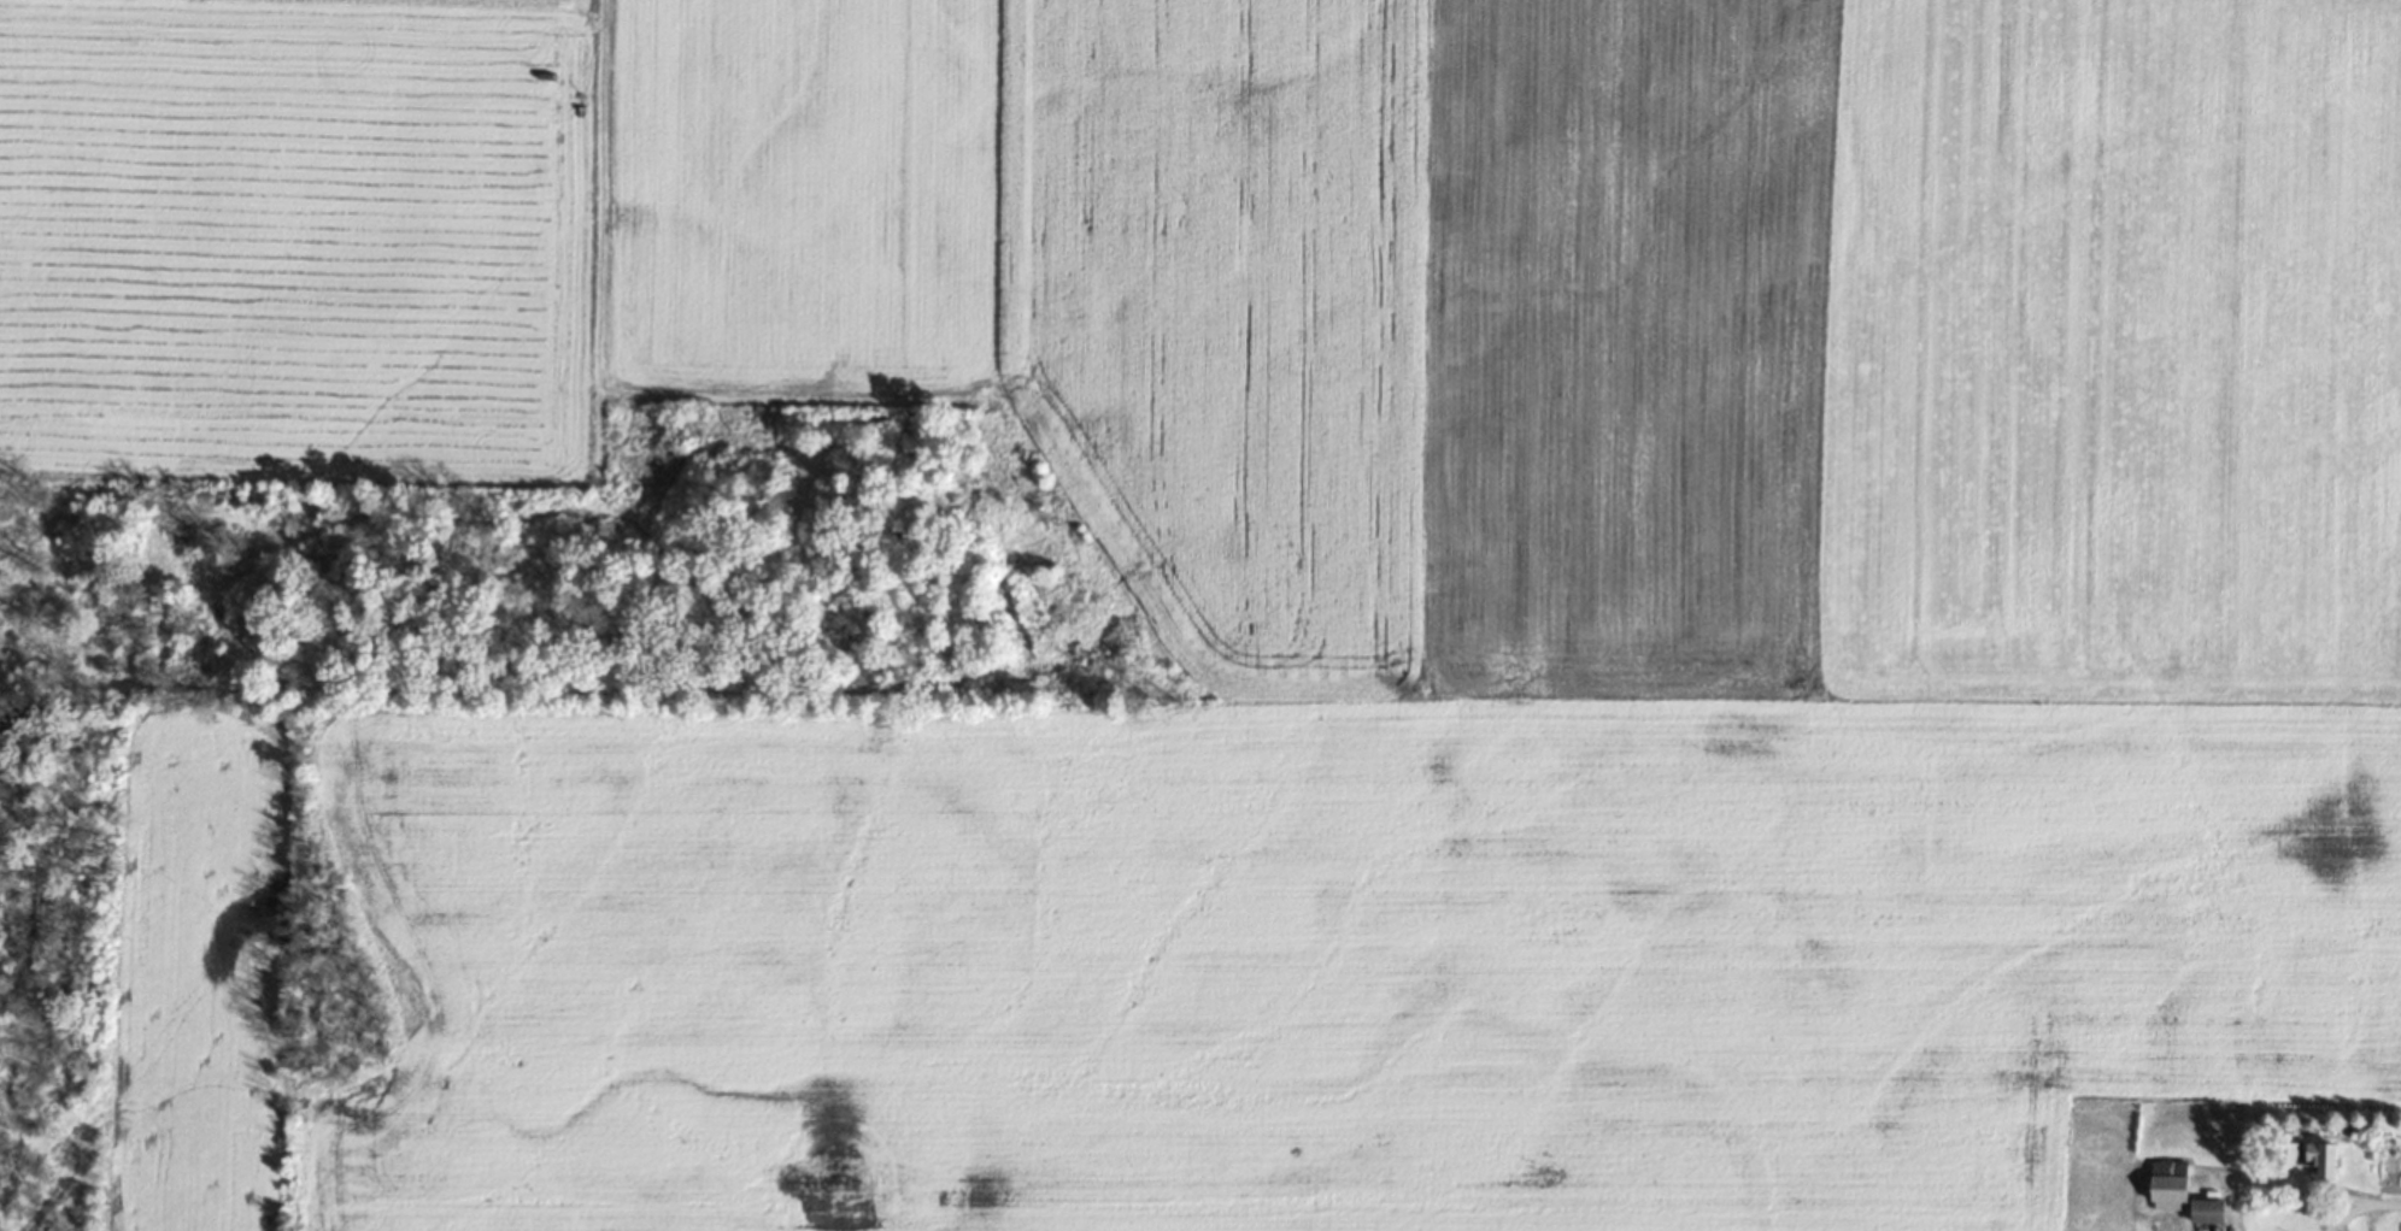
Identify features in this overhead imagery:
building: (2313, 1154)
road: (2273, 1173)
building: (2167, 1179)
road: (2377, 1202)
building: (2206, 1208)
road: (2338, 1215)

